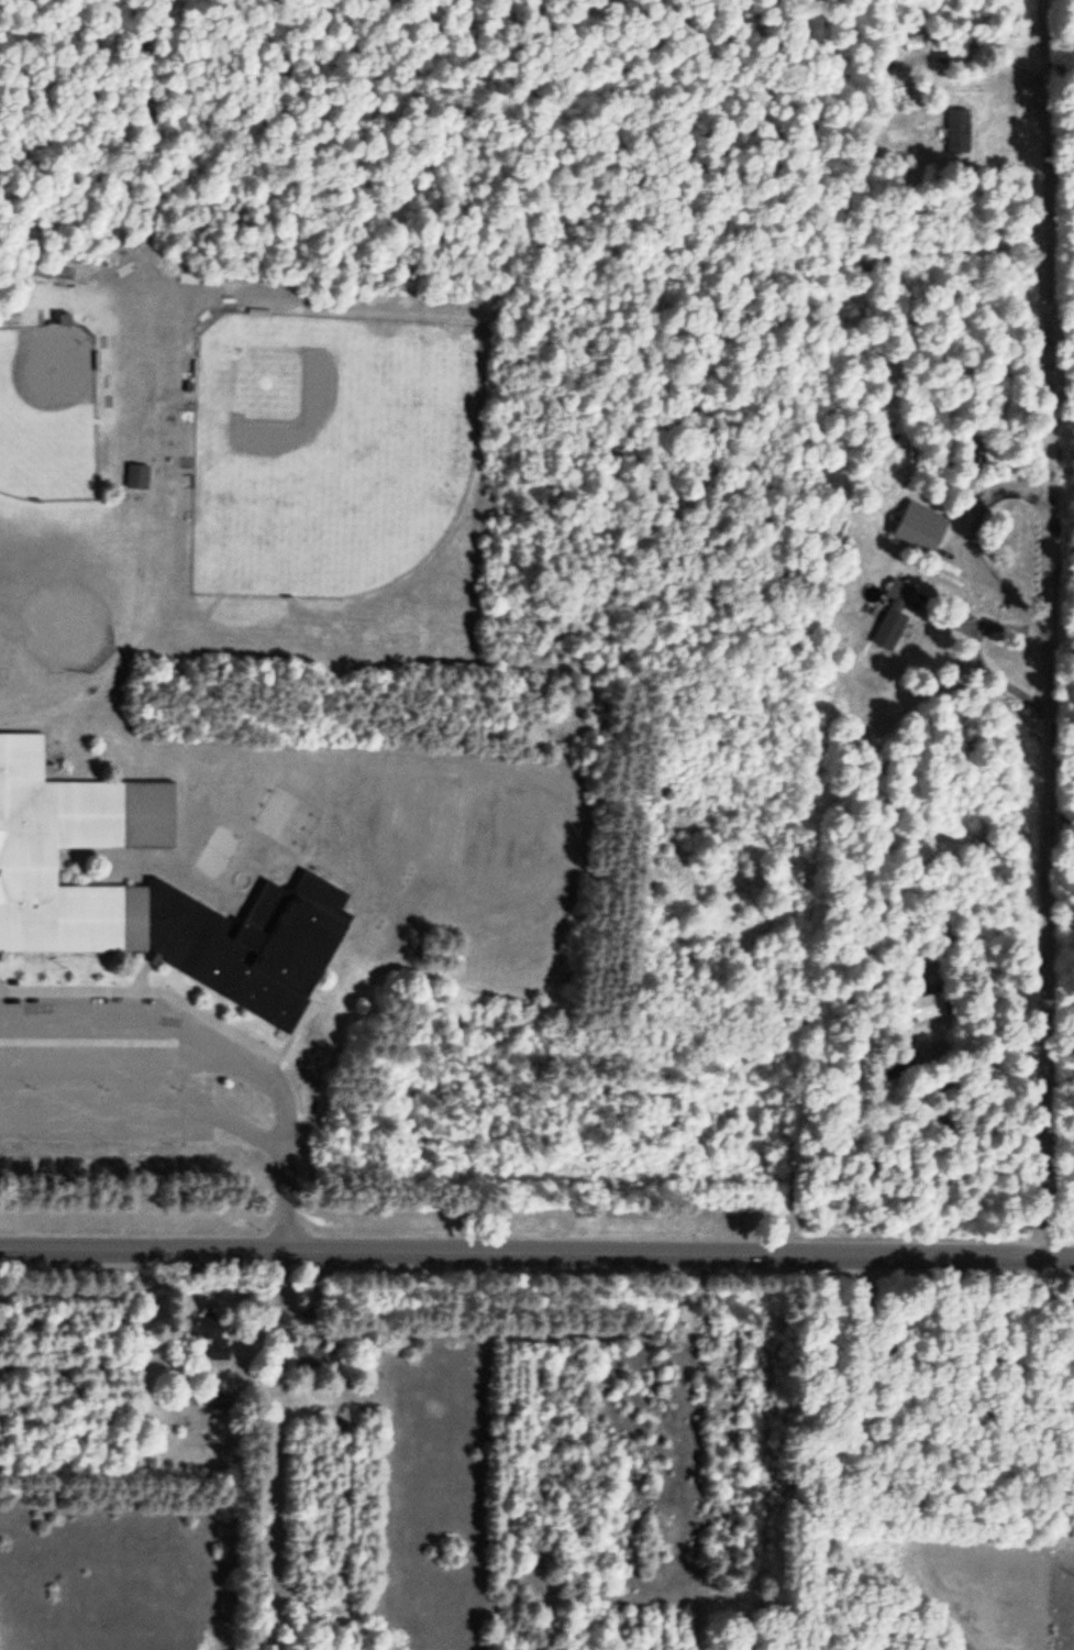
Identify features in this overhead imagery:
road: (1042, 113)
park: (48, 409)
park: (325, 450)
building: (137, 477)
road: (1049, 727)
park: (284, 817)
park: (213, 851)
building: (152, 892)
road: (141, 975)
road: (171, 997)
road: (104, 1053)
road: (218, 1057)
parking lot: (102, 1092)
road: (147, 1115)
road: (536, 1254)

